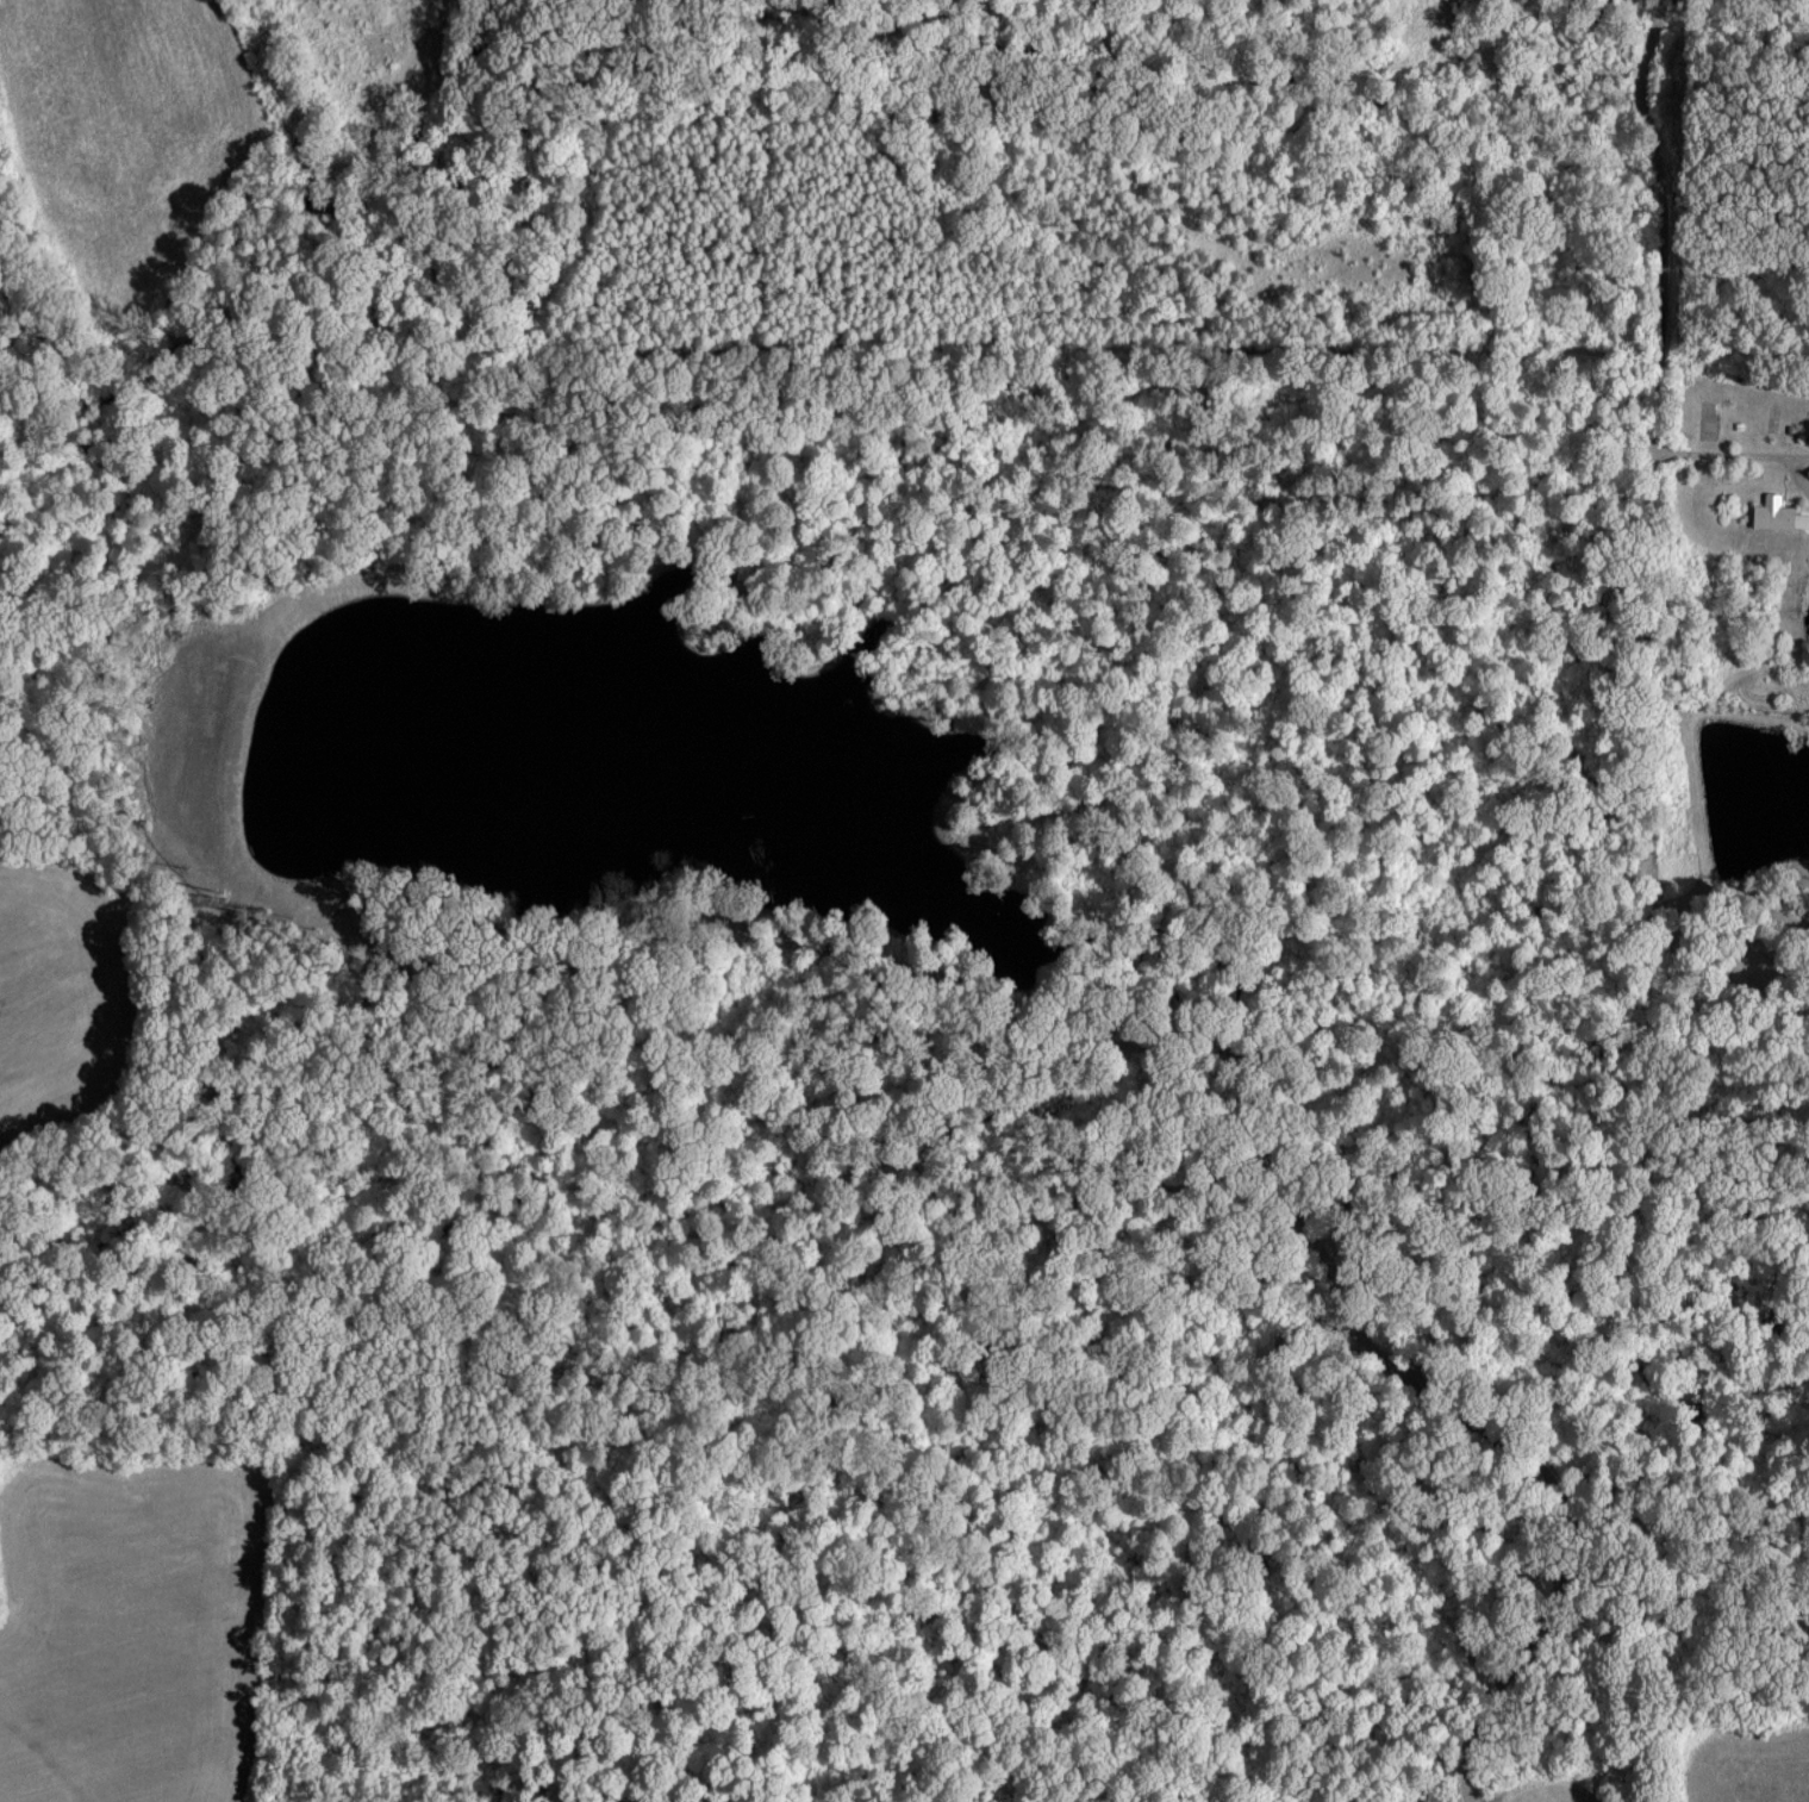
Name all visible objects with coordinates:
road: (1657, 258)
building: (1777, 515)

